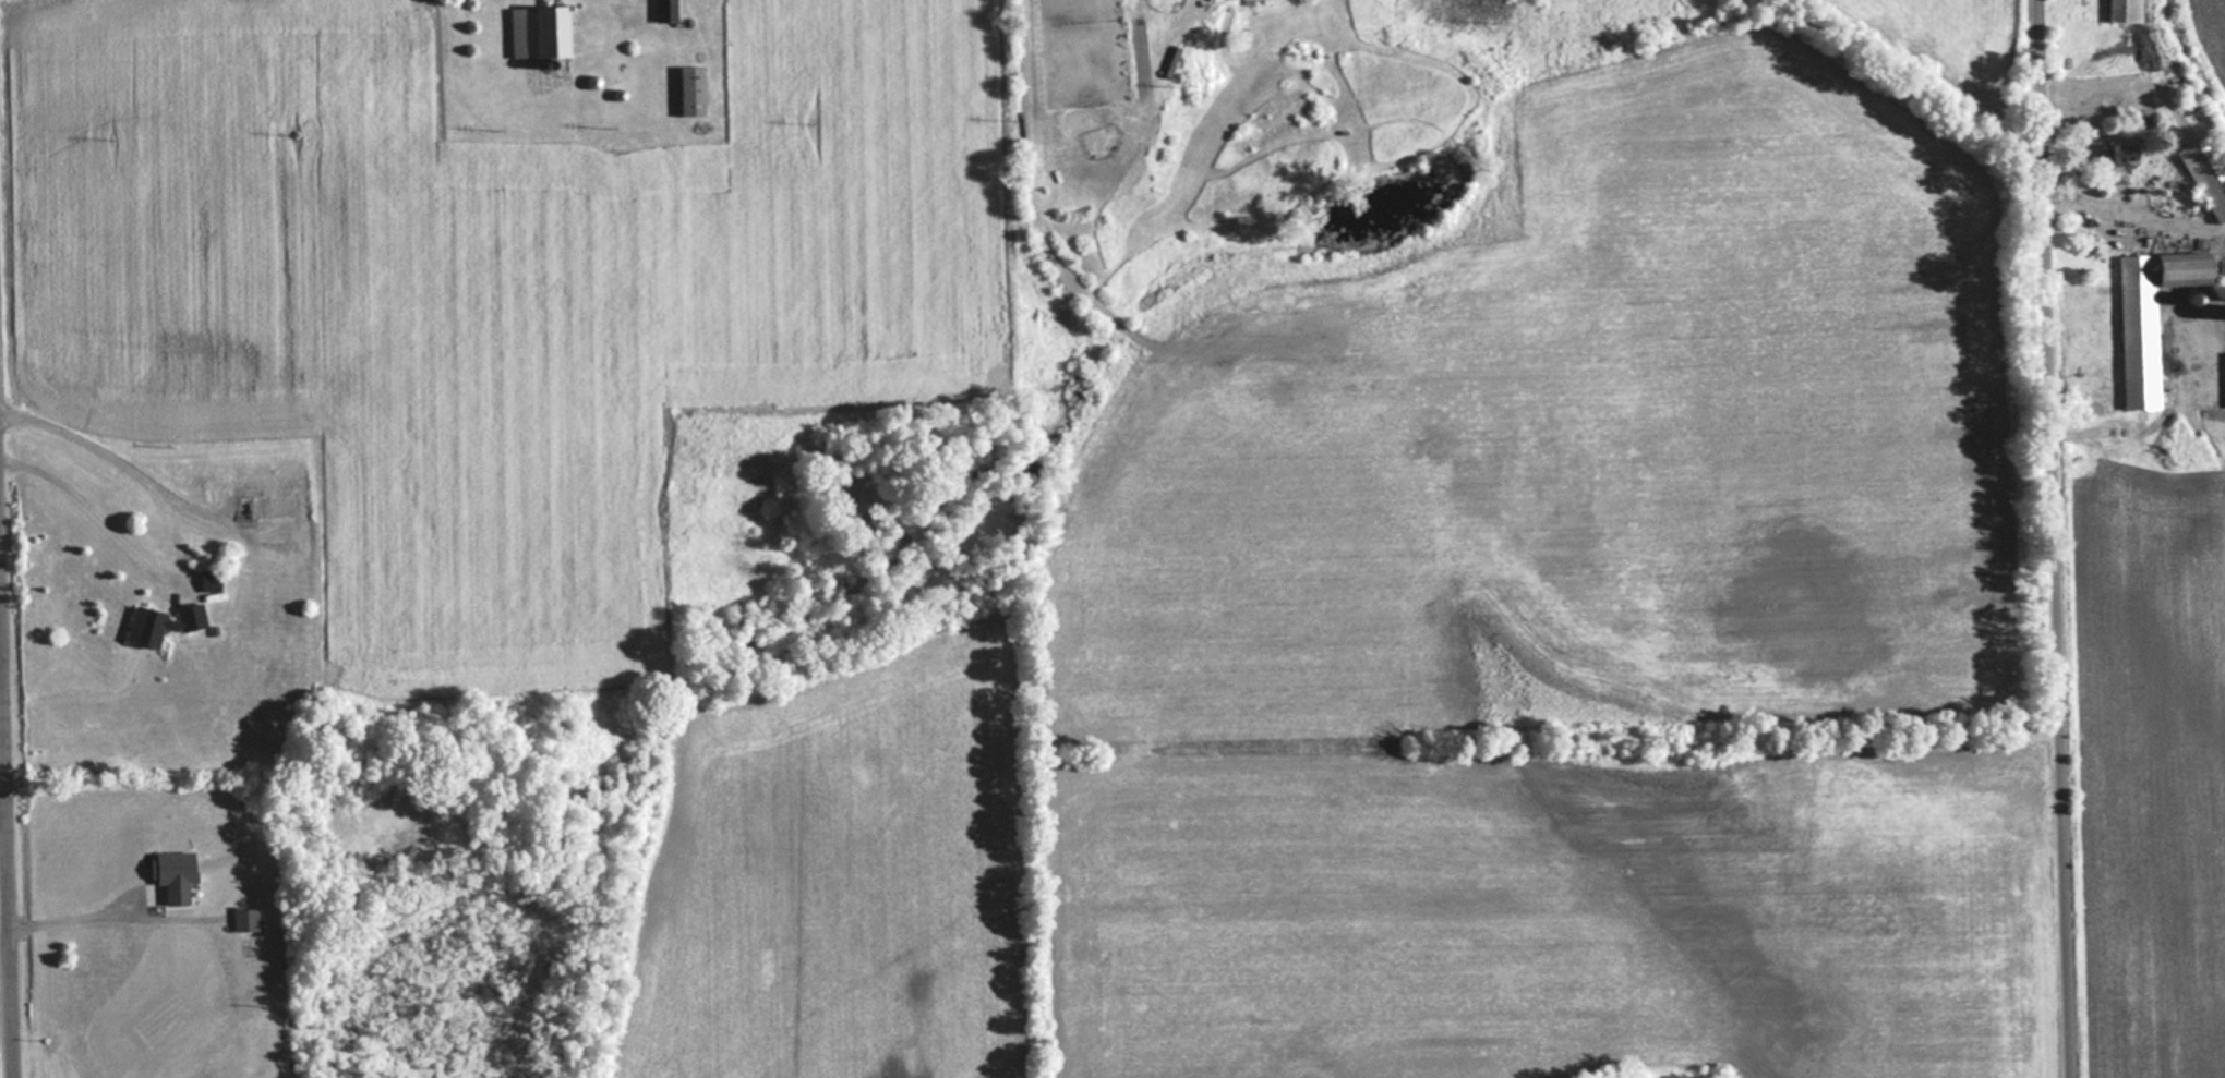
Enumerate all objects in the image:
building: (662, 11)
building: (2122, 11)
building: (534, 33)
building: (688, 92)
building: (2118, 156)
building: (2205, 174)
building: (2146, 318)
road: (116, 459)
petroleum well: (248, 509)
road: (2058, 538)
building: (208, 580)
building: (189, 616)
building: (146, 626)
road: (10, 788)

